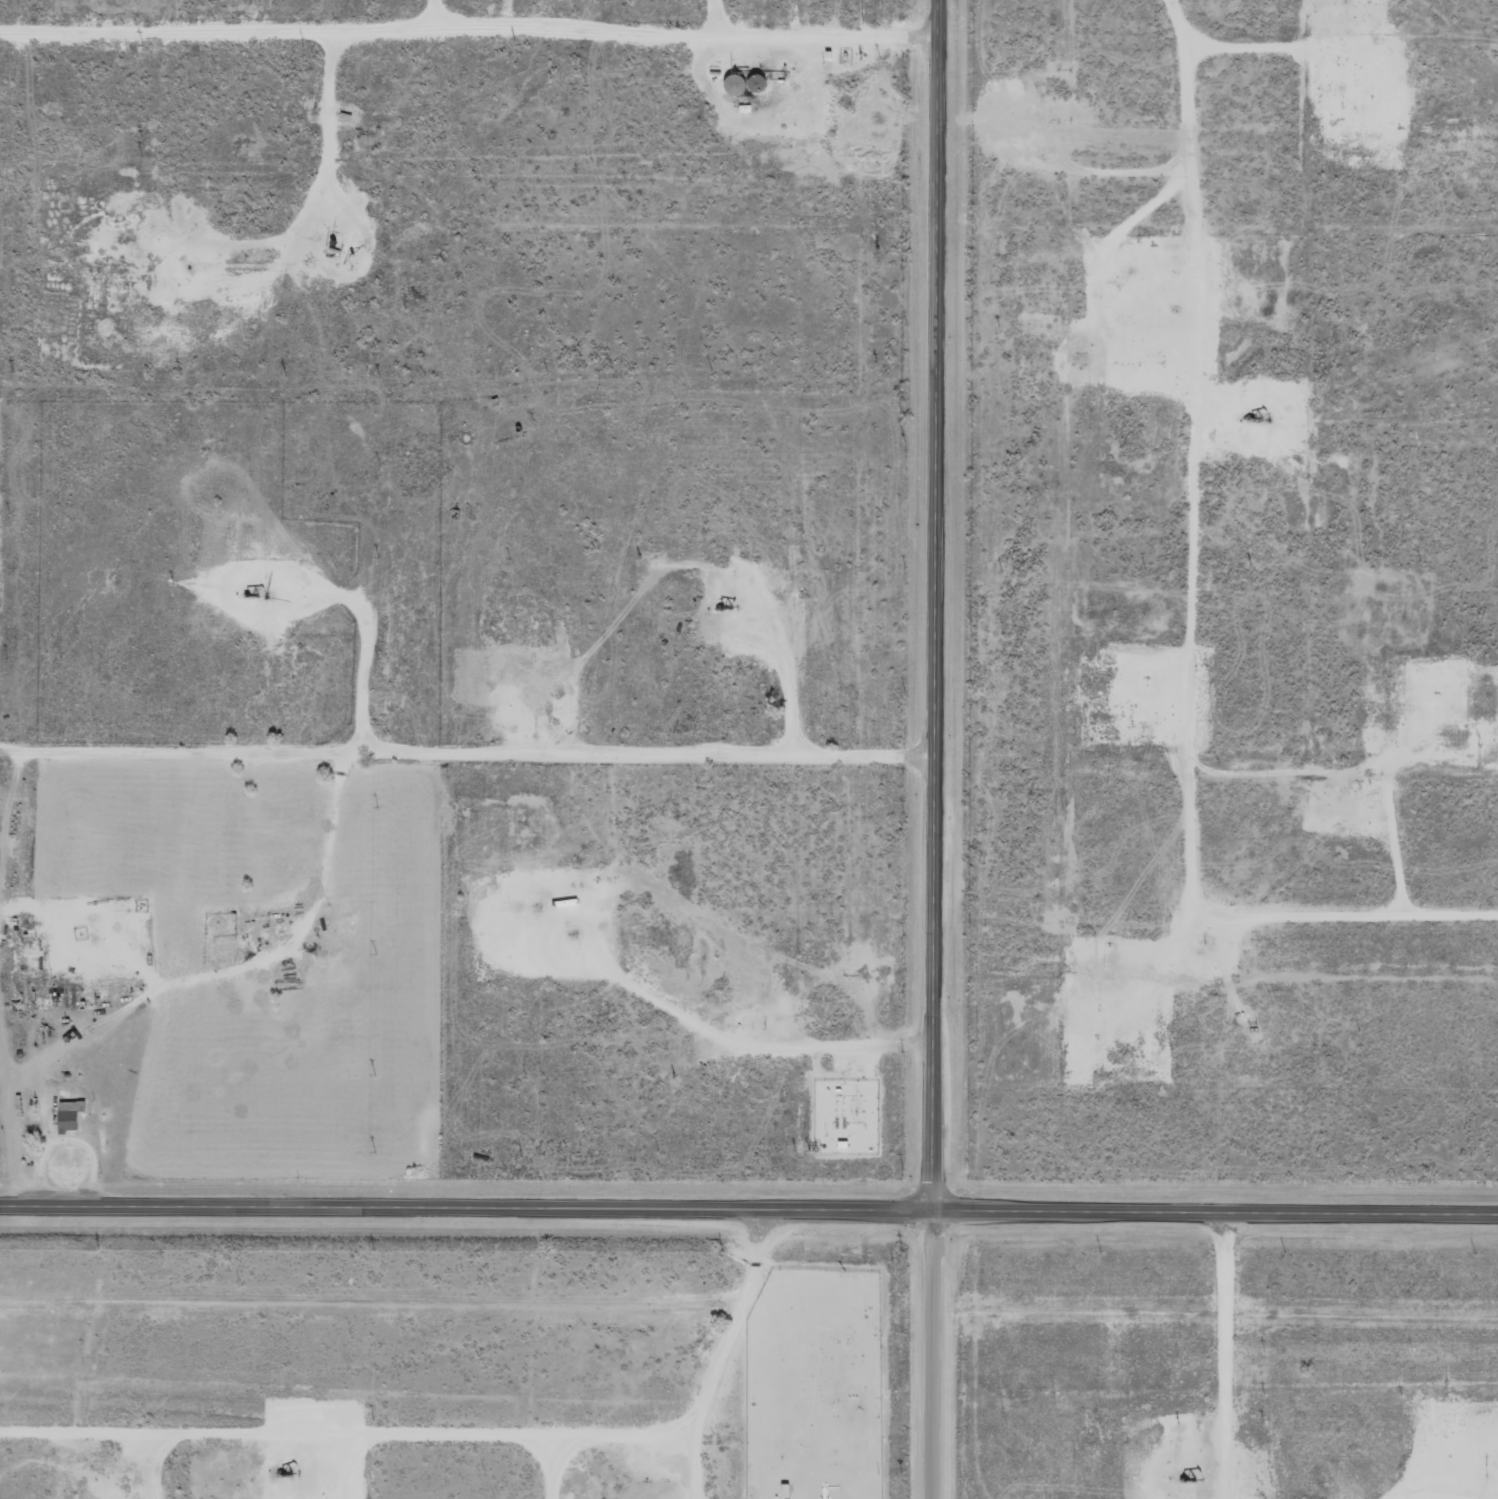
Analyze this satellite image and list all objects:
road: (470, 20)
road: (1350, 351)
road: (1193, 574)
road: (940, 606)
road: (470, 746)
road: (749, 1207)
road: (729, 1352)
road: (936, 1355)
road: (1230, 1355)
road: (357, 1421)

